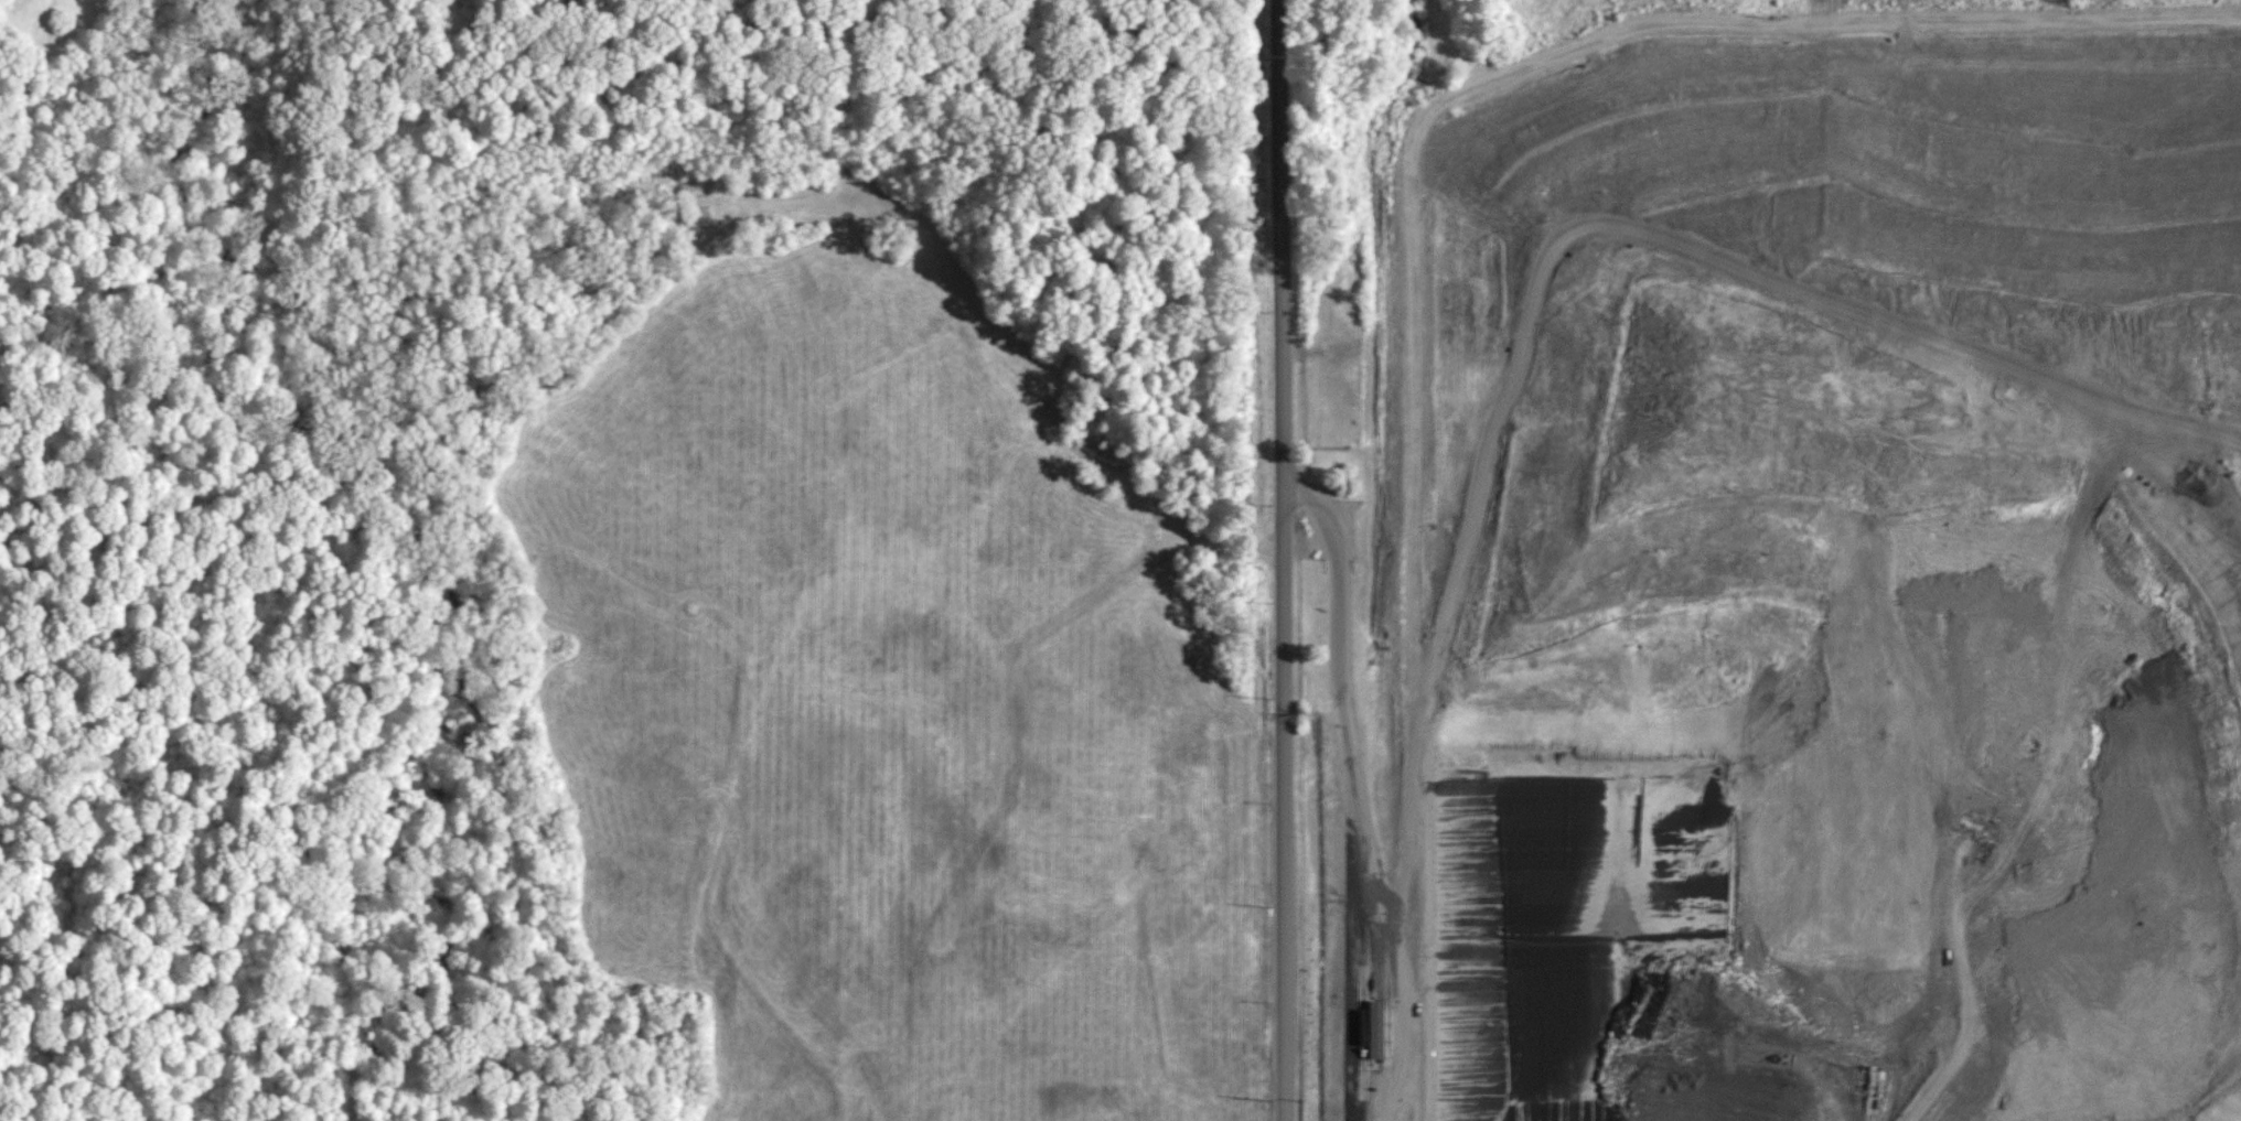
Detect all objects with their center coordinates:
road: (1276, 560)
road: (1353, 784)
road: (1400, 974)

